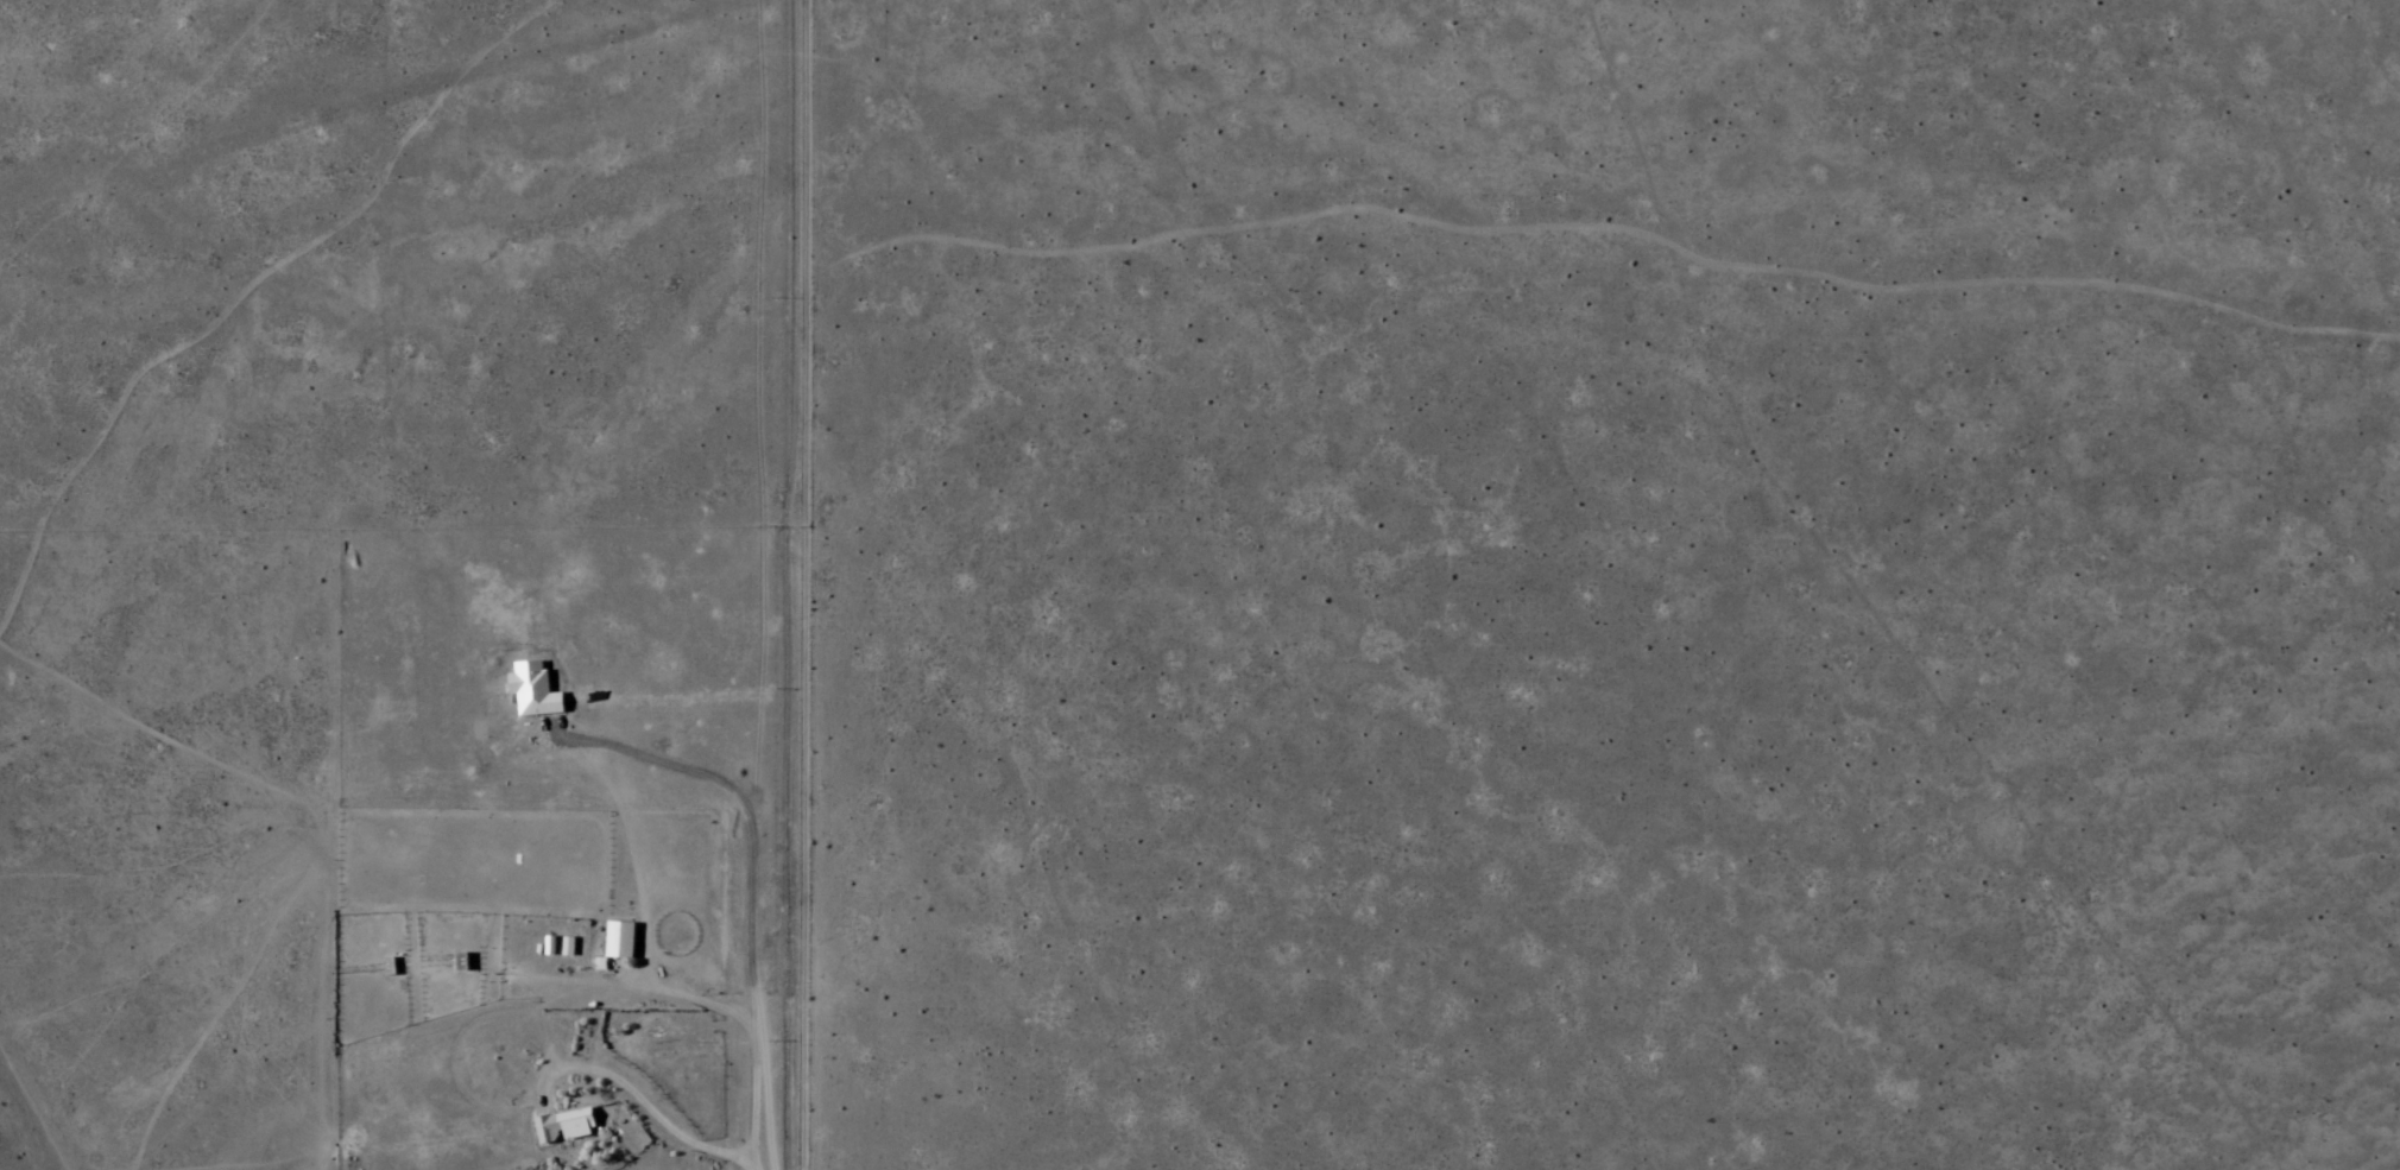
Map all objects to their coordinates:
road: (700, 584)
road: (770, 584)
building: (621, 941)
building: (568, 948)
building: (520, 991)
building: (567, 1127)

